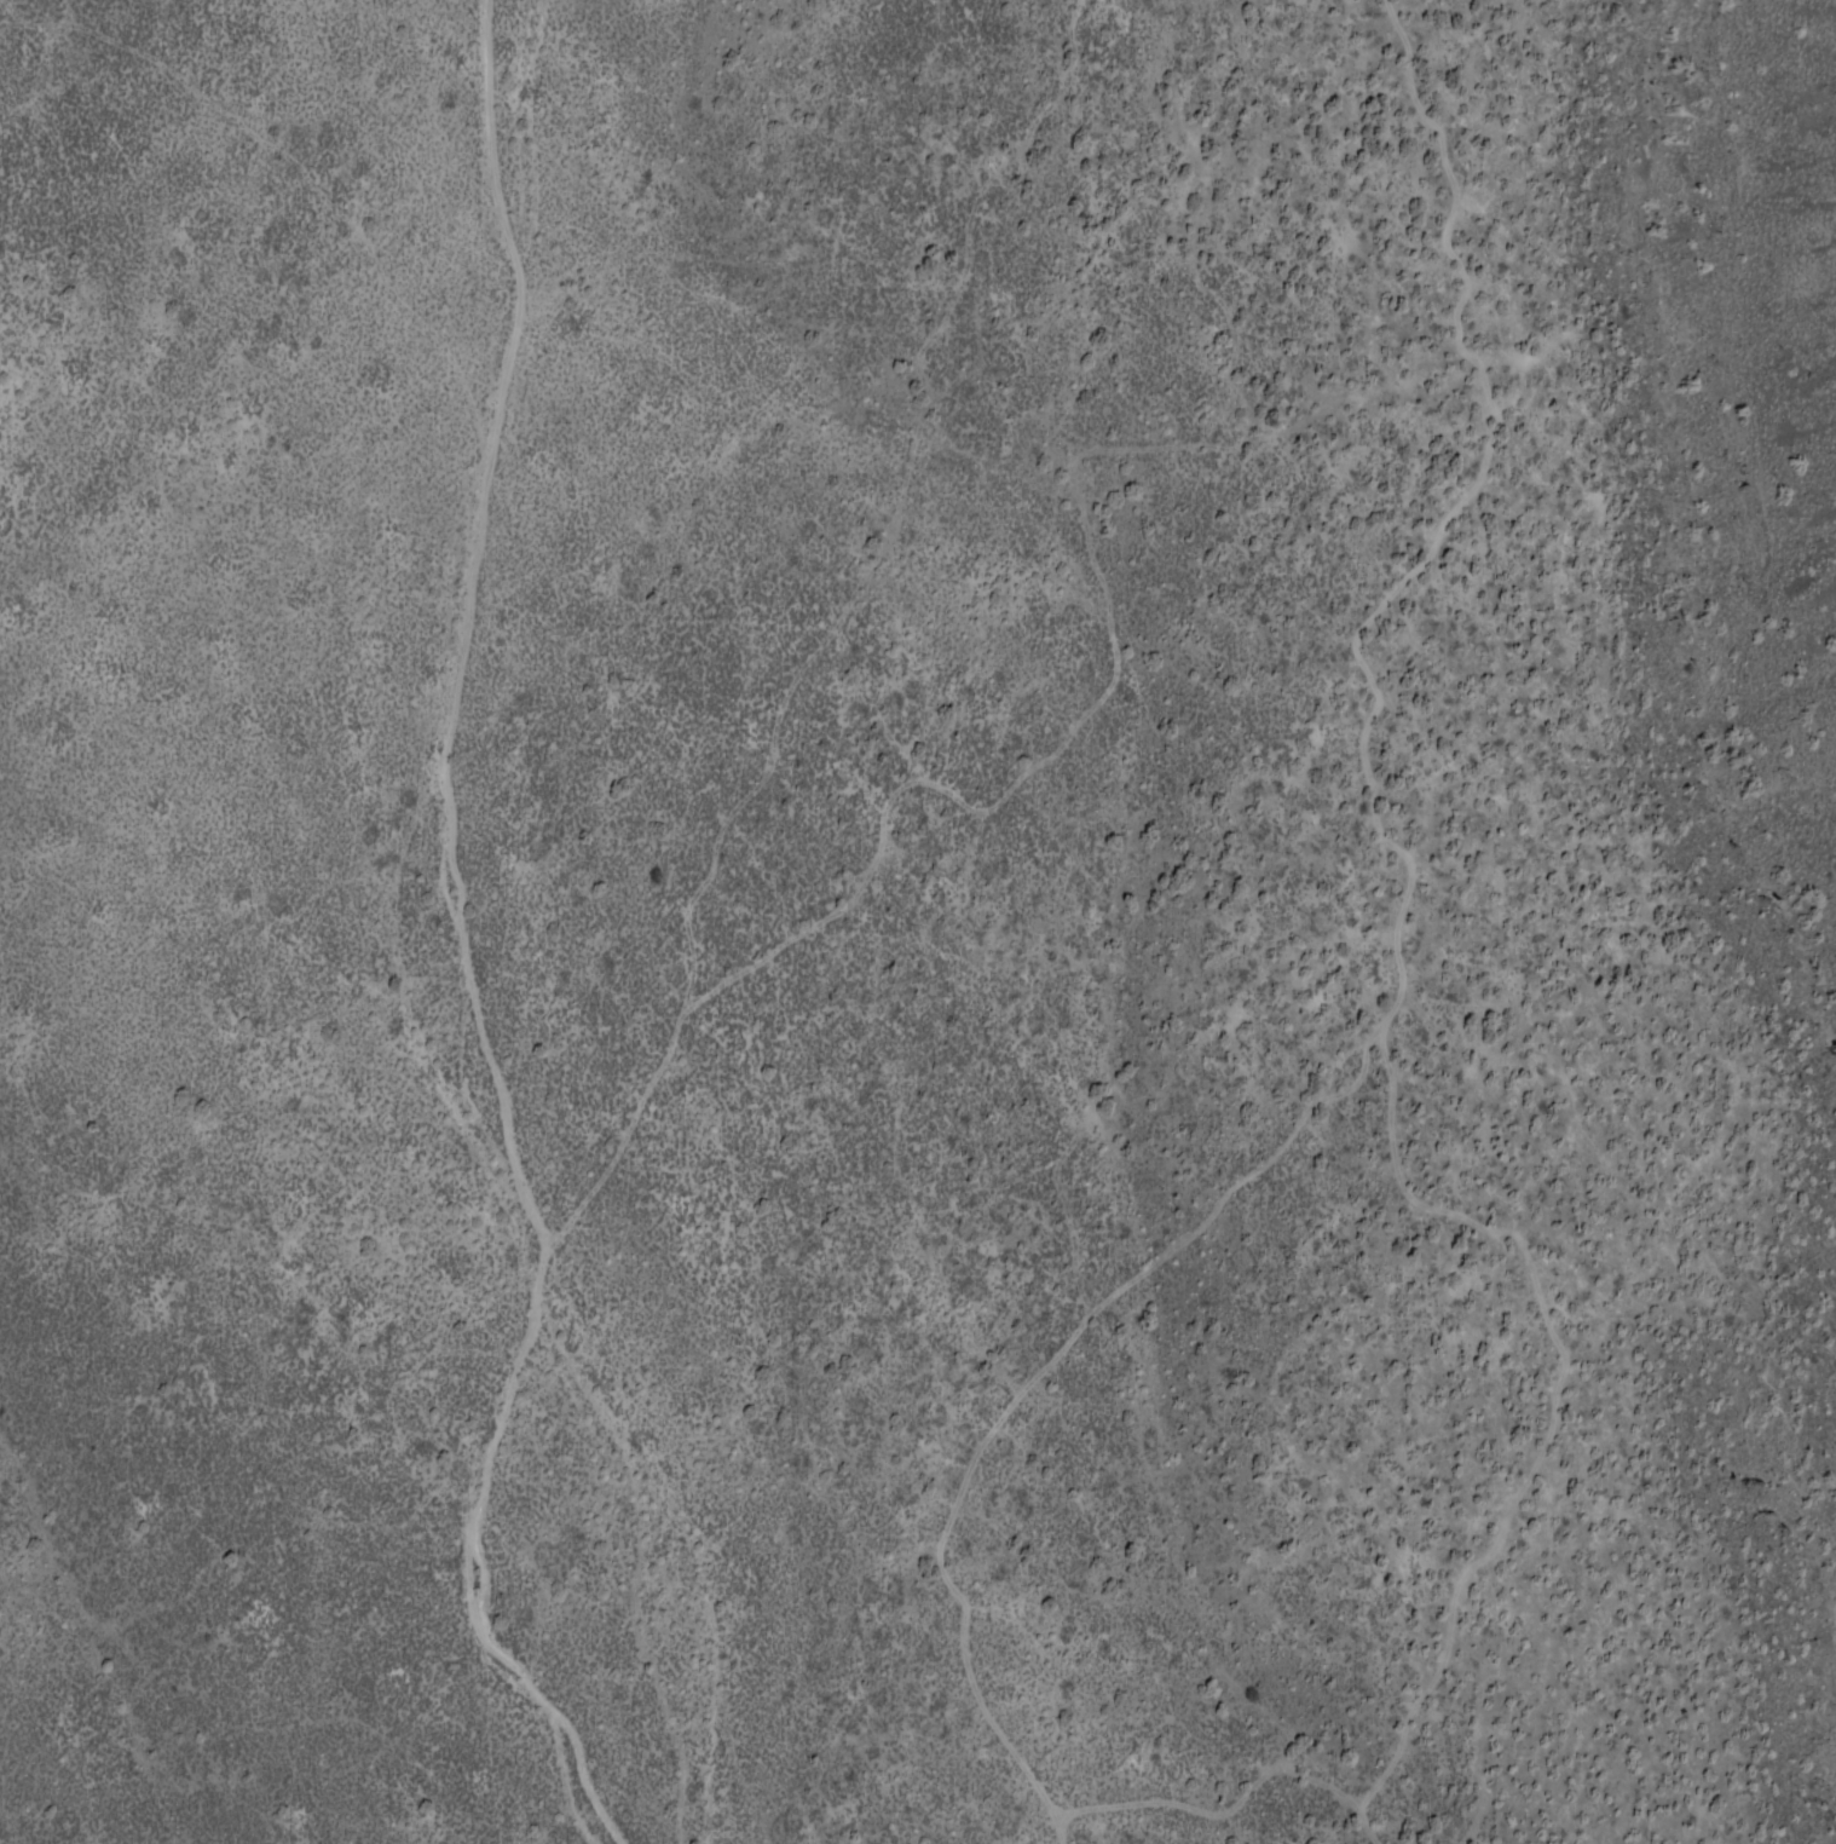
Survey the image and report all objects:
road: (520, 940)

